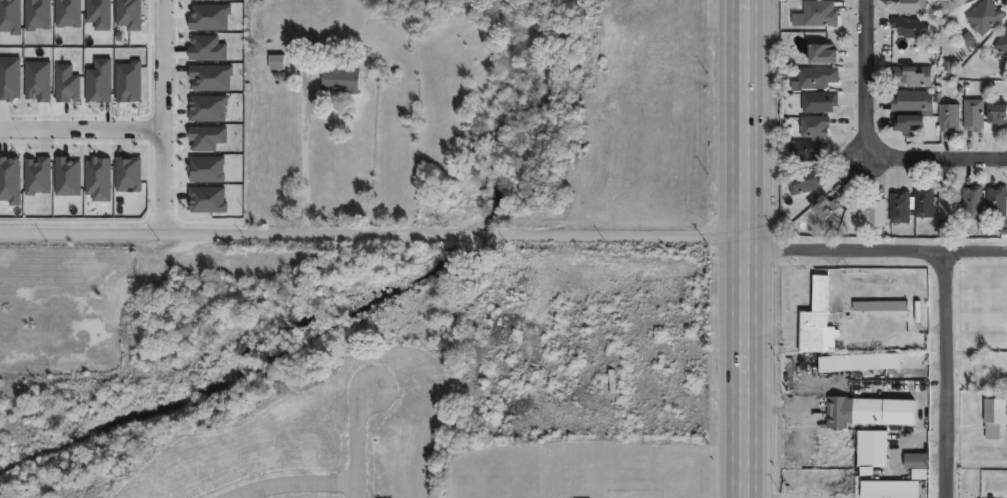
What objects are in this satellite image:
building: (909, 5)
building: (815, 13)
building: (984, 17)
building: (909, 26)
building: (1002, 42)
building: (821, 53)
building: (276, 62)
building: (911, 75)
building: (340, 77)
building: (817, 77)
building: (912, 100)
building: (819, 101)
building: (973, 114)
building: (997, 115)
road: (159, 116)
building: (948, 117)
building: (908, 124)
road: (79, 126)
building: (813, 126)
road: (879, 134)
building: (804, 150)
road: (304, 162)
building: (805, 181)
building: (971, 202)
building: (996, 202)
building: (911, 204)
building: (947, 204)
building: (822, 207)
building: (873, 213)
road: (374, 235)
road: (748, 249)
road: (877, 250)
road: (837, 279)
building: (880, 306)
building: (815, 321)
road: (931, 325)
road: (769, 337)
building: (857, 363)
road: (949, 374)
road: (775, 410)
building: (994, 411)
building: (869, 412)
road: (803, 418)
road: (358, 436)
building: (869, 451)
building: (916, 465)
road: (295, 483)
building: (888, 489)

